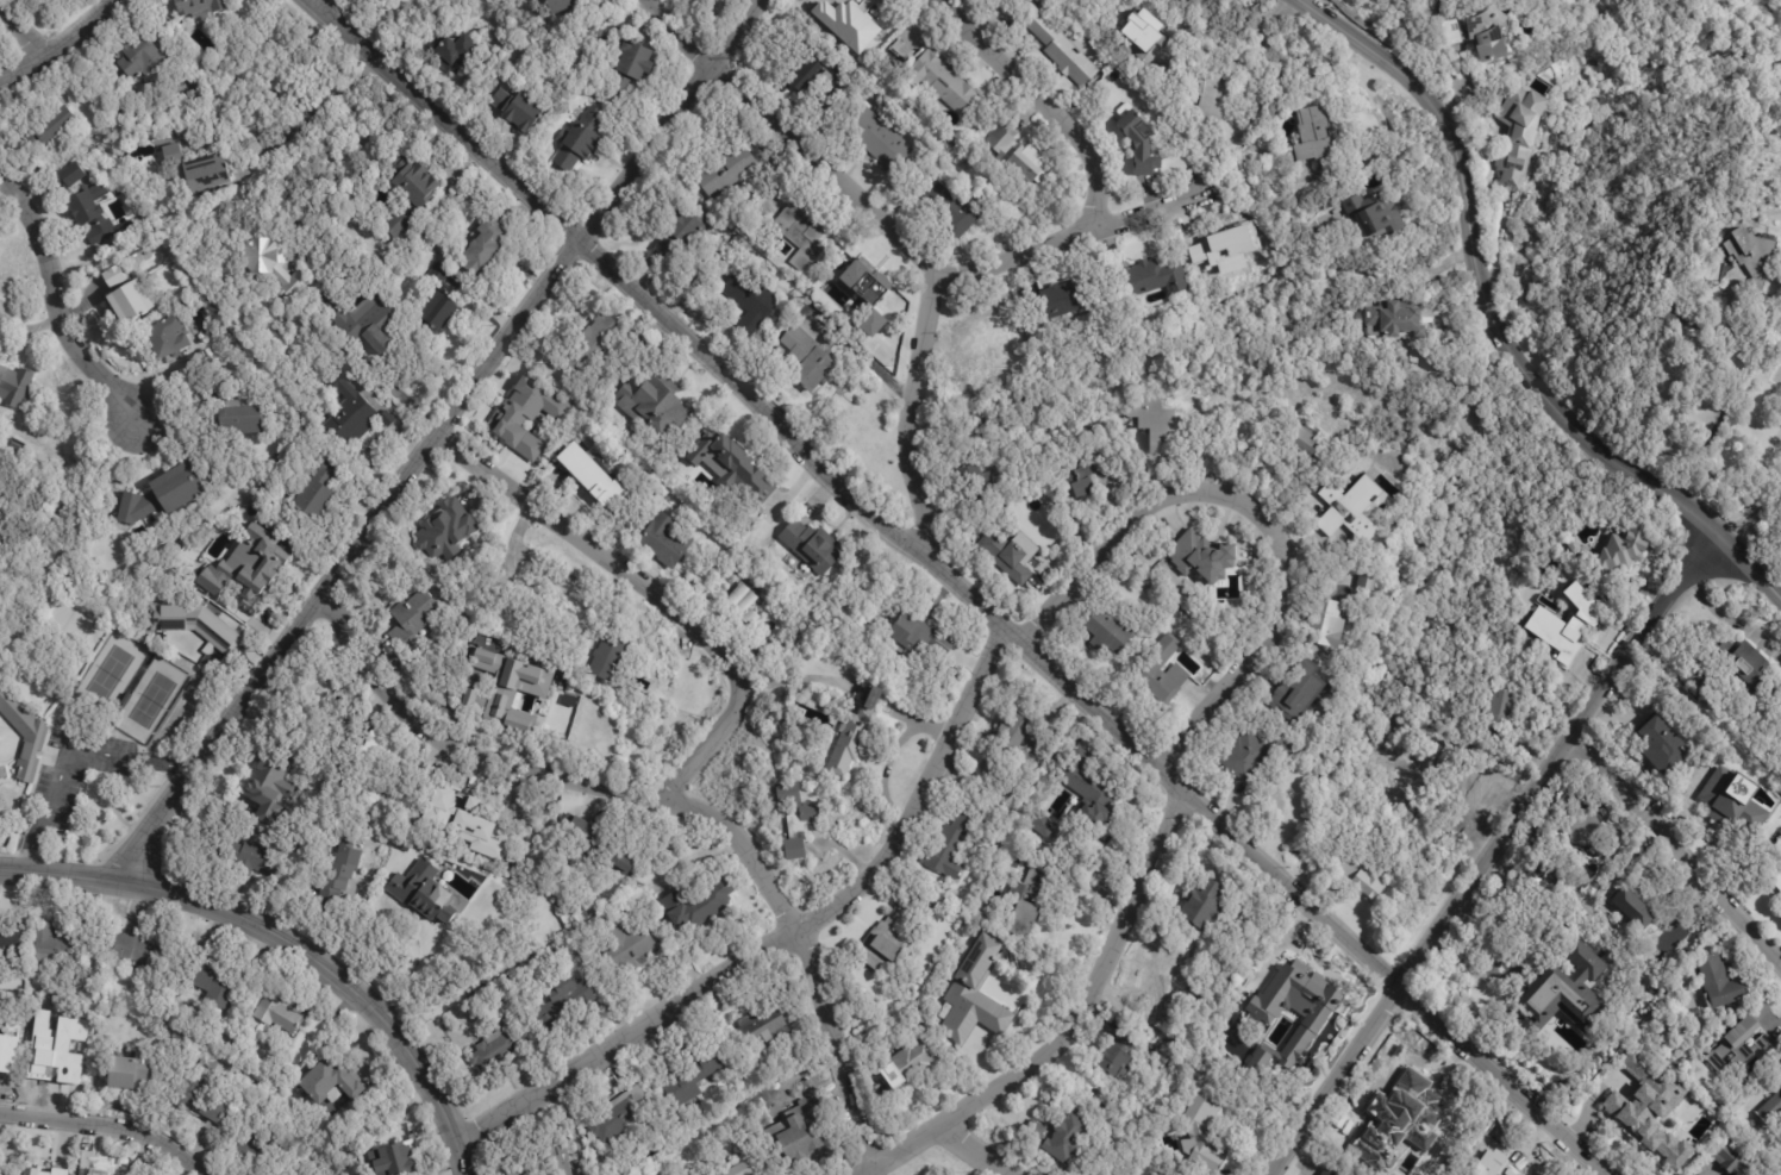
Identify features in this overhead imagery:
road: (318, 5)
building: (561, 5)
building: (199, 7)
building: (1531, 8)
road: (21, 29)
building: (848, 29)
road: (680, 33)
building: (1454, 36)
building: (1491, 37)
road: (56, 40)
building: (1149, 42)
building: (1060, 49)
building: (136, 56)
building: (457, 56)
building: (631, 69)
building: (815, 70)
building: (943, 85)
building: (1212, 96)
road: (1046, 104)
building: (518, 113)
road: (307, 117)
building: (54, 125)
building: (1314, 135)
building: (1523, 137)
building: (877, 139)
building: (579, 145)
building: (1139, 145)
park: (1700, 146)
building: (1019, 160)
road: (829, 167)
building: (196, 168)
building: (726, 173)
building: (71, 174)
building: (410, 195)
building: (475, 195)
building: (956, 212)
building: (90, 213)
building: (1377, 218)
building: (683, 237)
building: (801, 237)
road: (1074, 238)
building: (483, 246)
building: (1227, 250)
road: (1470, 256)
building: (1756, 256)
building: (270, 264)
road: (1408, 275)
building: (113, 276)
building: (1152, 281)
building: (868, 283)
road: (51, 299)
building: (437, 299)
building: (751, 301)
building: (1060, 301)
building: (132, 302)
building: (1396, 319)
building: (363, 323)
building: (989, 336)
building: (168, 339)
building: (596, 342)
building: (808, 356)
building: (198, 363)
building: (14, 387)
road: (1730, 398)
building: (652, 402)
building: (349, 411)
road: (910, 411)
building: (236, 414)
building: (527, 424)
building: (1160, 435)
road: (435, 439)
building: (1302, 440)
building: (15, 445)
road: (1757, 461)
building: (593, 473)
building: (717, 474)
building: (1079, 480)
building: (976, 481)
building: (317, 492)
building: (161, 495)
road: (1261, 517)
building: (1346, 518)
road: (1700, 519)
building: (445, 529)
building: (664, 540)
building: (812, 546)
building: (1624, 552)
building: (1200, 555)
building: (1004, 556)
building: (186, 561)
building: (251, 564)
road: (1750, 571)
building: (1368, 582)
road: (958, 583)
road: (1776, 592)
road: (651, 593)
building: (551, 602)
building: (743, 605)
building: (411, 623)
building: (195, 624)
building: (1326, 624)
building: (1579, 629)
building: (1111, 632)
building: (920, 638)
building: (607, 658)
building: (1749, 664)
building: (1162, 671)
park: (108, 673)
building: (1699, 685)
building: (489, 688)
building: (1299, 692)
park: (151, 700)
building: (1500, 714)
park: (89, 729)
building: (1780, 730)
building: (23, 731)
building: (855, 738)
building: (1011, 739)
building: (1664, 745)
road: (65, 751)
building: (1252, 755)
building: (374, 768)
building: (269, 788)
building: (1088, 789)
building: (1479, 794)
road: (673, 799)
building: (1732, 800)
building: (449, 814)
building: (796, 819)
building: (1043, 825)
building: (598, 848)
building: (950, 848)
building: (1592, 850)
road: (1679, 852)
road: (1495, 856)
building: (251, 857)
building: (1779, 861)
building: (337, 877)
building: (1361, 877)
building: (1777, 880)
building: (427, 896)
building: (1029, 902)
building: (707, 905)
building: (1206, 910)
building: (624, 915)
building: (8, 931)
building: (887, 938)
building: (1668, 938)
road: (789, 943)
road: (287, 944)
building: (625, 945)
building: (54, 948)
building: (142, 952)
road: (413, 979)
building: (923, 979)
building: (213, 980)
building: (1721, 985)
building: (1304, 989)
building: (1156, 993)
building: (1566, 996)
building: (975, 999)
building: (563, 1004)
building: (1248, 1004)
building: (492, 1012)
building: (282, 1019)
road: (1077, 1026)
building: (763, 1029)
building: (0, 1036)
building: (1745, 1042)
building: (56, 1050)
building: (495, 1050)
building: (1119, 1058)
building: (8, 1061)
building: (1256, 1062)
building: (911, 1063)
building: (129, 1069)
building: (692, 1079)
building: (198, 1100)
building: (1651, 1107)
building: (1773, 1107)
building: (619, 1115)
road: (107, 1125)
building: (796, 1135)
building: (1202, 1135)
building: (1411, 1135)
building: (1060, 1138)
building: (255, 1145)
road: (973, 1154)
building: (546, 1157)
building: (1493, 1158)
building: (1729, 1158)
building: (390, 1160)
building: (58, 1167)
building: (740, 1170)
building: (44, 1171)
building: (1329, 1171)
building: (98, 1173)
building: (1694, 1173)
building: (718, 1174)
building: (1738, 1174)

